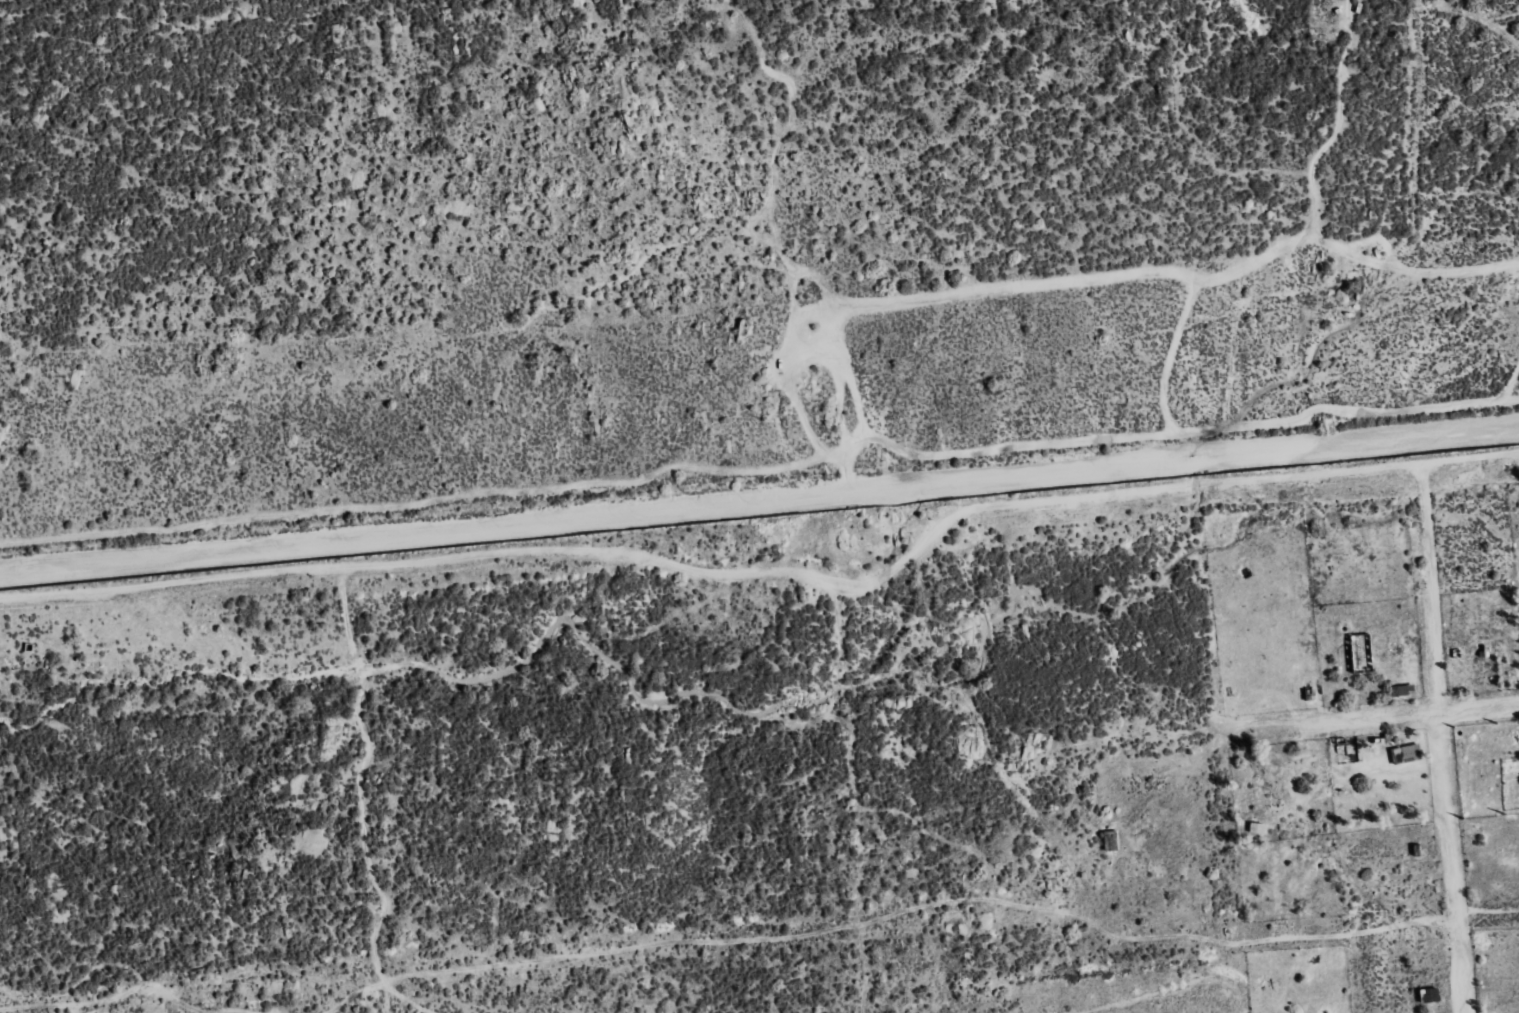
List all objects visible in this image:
road: (1469, 460)
road: (759, 495)
road: (723, 577)
road: (1371, 721)
road: (1439, 739)
building: (1406, 754)
building: (1258, 827)
road: (1486, 913)

